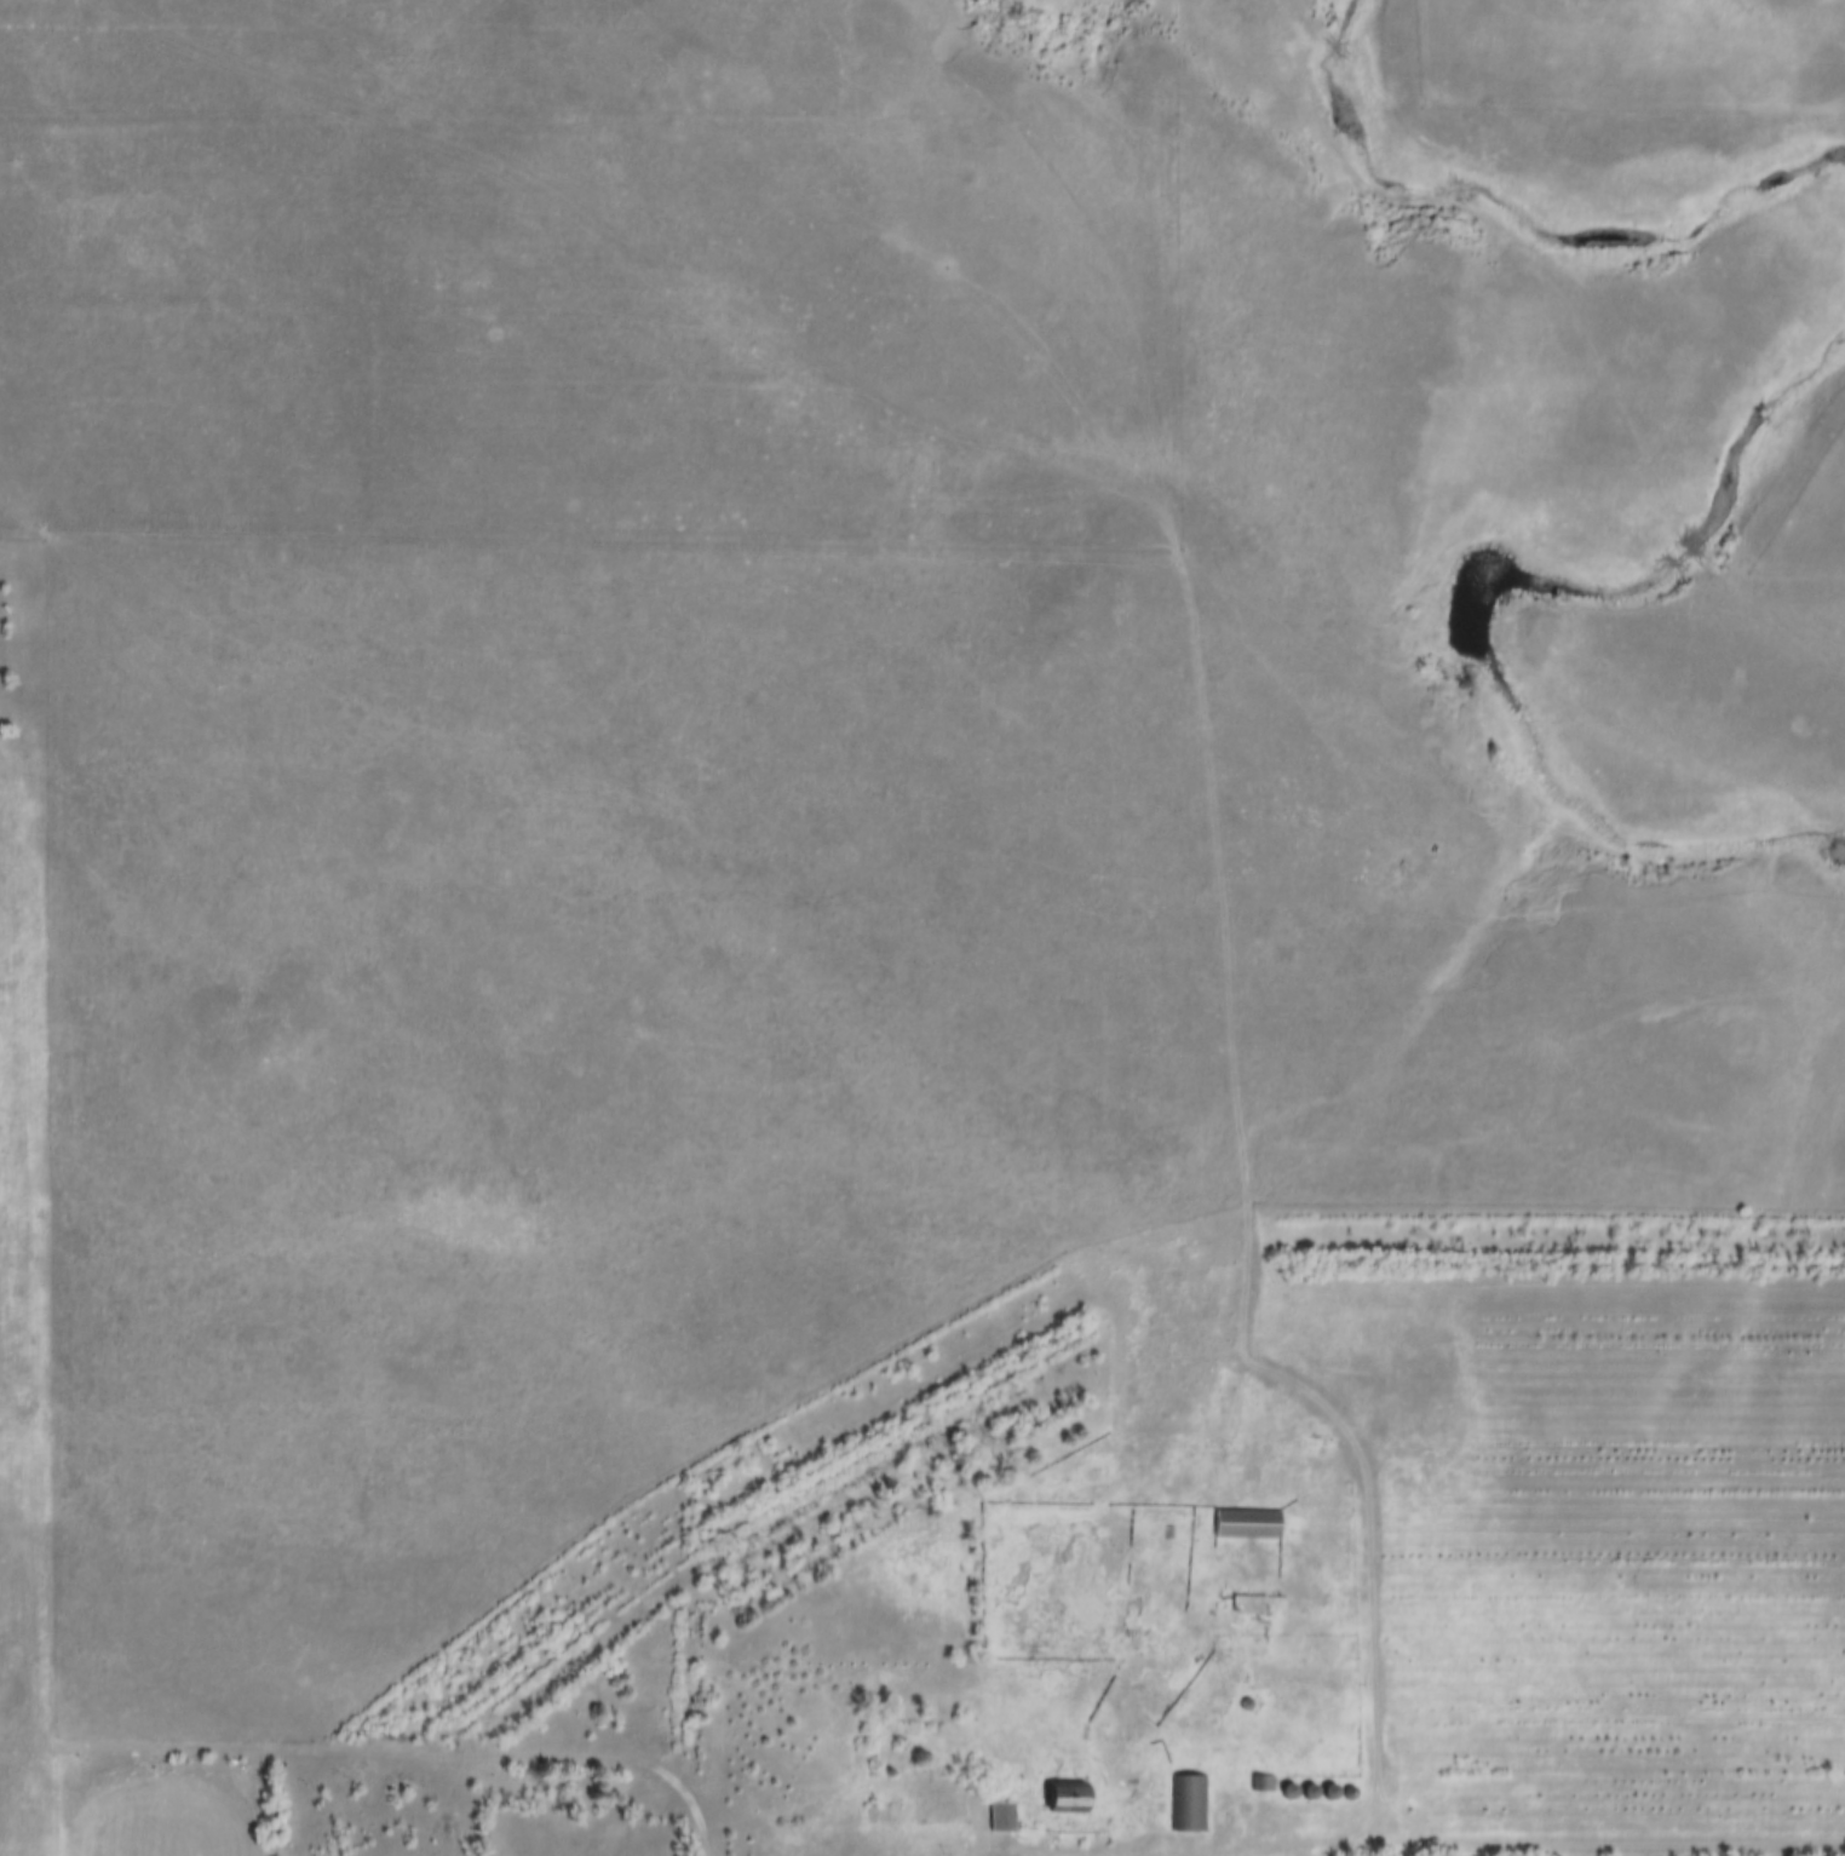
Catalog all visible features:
building: (1253, 1518)
building: (1254, 1598)
road: (381, 1754)
building: (1073, 1793)
building: (1192, 1799)
building: (1007, 1812)

